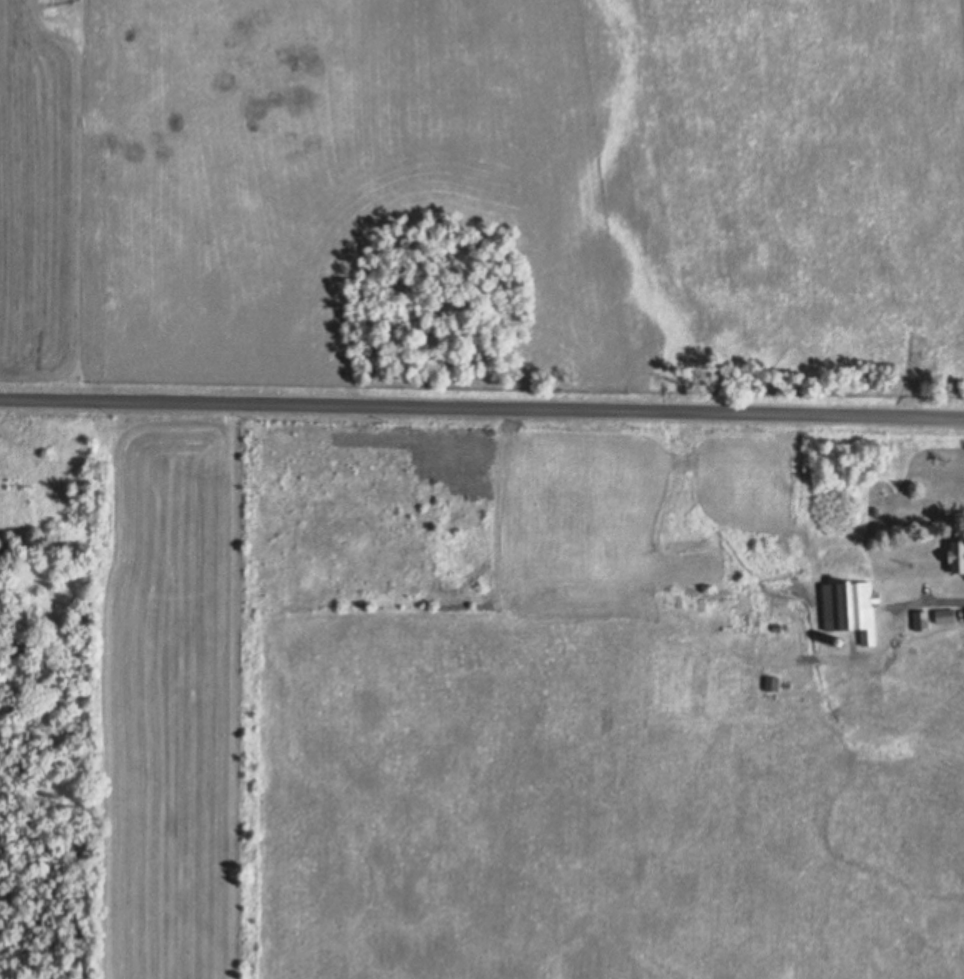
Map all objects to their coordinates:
road: (482, 409)
building: (956, 555)
building: (850, 608)
building: (944, 615)
building: (920, 620)
building: (771, 683)

